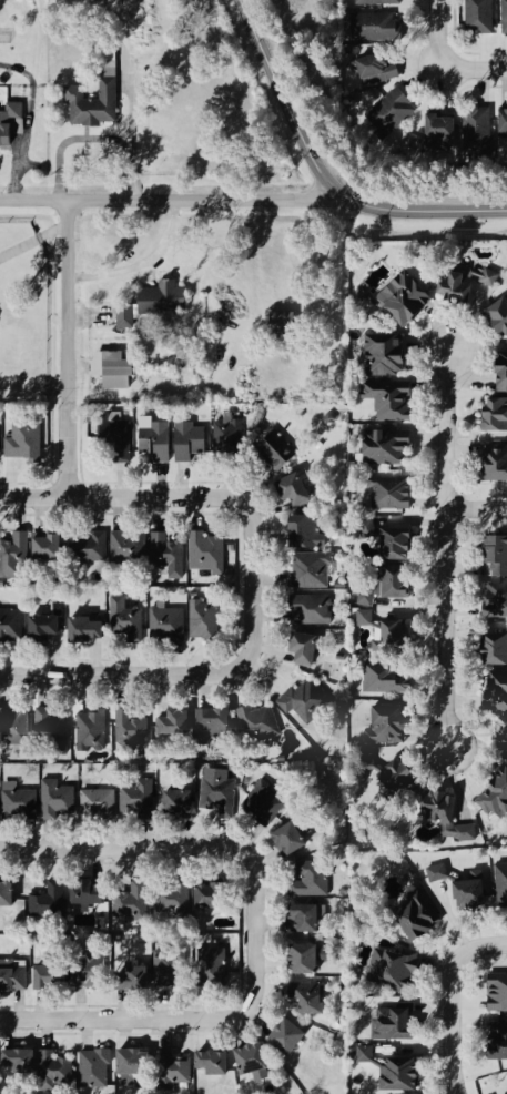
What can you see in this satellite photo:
building: (378, 1)
building: (481, 12)
building: (505, 14)
building: (371, 24)
road: (430, 33)
building: (381, 68)
road: (473, 71)
building: (403, 103)
building: (95, 104)
building: (506, 122)
building: (10, 123)
building: (445, 128)
building: (479, 131)
road: (131, 138)
road: (74, 139)
road: (322, 175)
road: (169, 199)
road: (32, 241)
road: (142, 264)
building: (409, 296)
building: (155, 305)
building: (503, 314)
building: (280, 322)
road: (65, 347)
building: (393, 358)
building: (114, 369)
building: (505, 377)
building: (395, 402)
building: (498, 415)
building: (0, 436)
building: (120, 439)
building: (156, 439)
building: (231, 439)
building: (191, 440)
building: (26, 442)
building: (276, 447)
building: (389, 448)
building: (498, 459)
building: (300, 487)
building: (394, 493)
road: (204, 496)
road: (476, 509)
building: (368, 529)
building: (307, 533)
building: (403, 544)
building: (123, 545)
building: (51, 546)
building: (94, 548)
road: (444, 548)
building: (500, 550)
building: (207, 553)
building: (14, 556)
building: (313, 570)
building: (389, 586)
building: (497, 601)
building: (57, 609)
building: (312, 609)
building: (364, 617)
building: (126, 619)
building: (12, 620)
building: (170, 620)
building: (204, 620)
building: (48, 628)
building: (89, 630)
building: (397, 638)
building: (307, 649)
building: (495, 665)
road: (120, 673)
building: (387, 679)
building: (303, 698)
building: (257, 719)
building: (219, 721)
building: (14, 722)
building: (175, 725)
building: (51, 726)
building: (394, 729)
building: (92, 731)
building: (132, 731)
building: (505, 736)
building: (400, 777)
building: (26, 783)
building: (217, 792)
building: (138, 798)
building: (496, 798)
building: (57, 800)
building: (20, 801)
building: (99, 801)
building: (181, 801)
building: (291, 840)
road: (122, 847)
building: (438, 872)
building: (313, 879)
building: (503, 884)
building: (475, 891)
building: (92, 893)
building: (8, 895)
building: (214, 895)
building: (49, 900)
building: (174, 902)
building: (133, 903)
building: (310, 919)
building: (224, 952)
building: (308, 960)
building: (154, 969)
building: (398, 971)
building: (13, 975)
building: (75, 975)
building: (499, 993)
building: (305, 996)
road: (450, 997)
road: (203, 1019)
building: (405, 1024)
building: (291, 1037)
building: (496, 1046)
building: (366, 1054)
building: (255, 1061)
building: (135, 1062)
building: (217, 1063)
building: (95, 1067)
building: (63, 1070)
building: (180, 1070)
building: (405, 1076)

